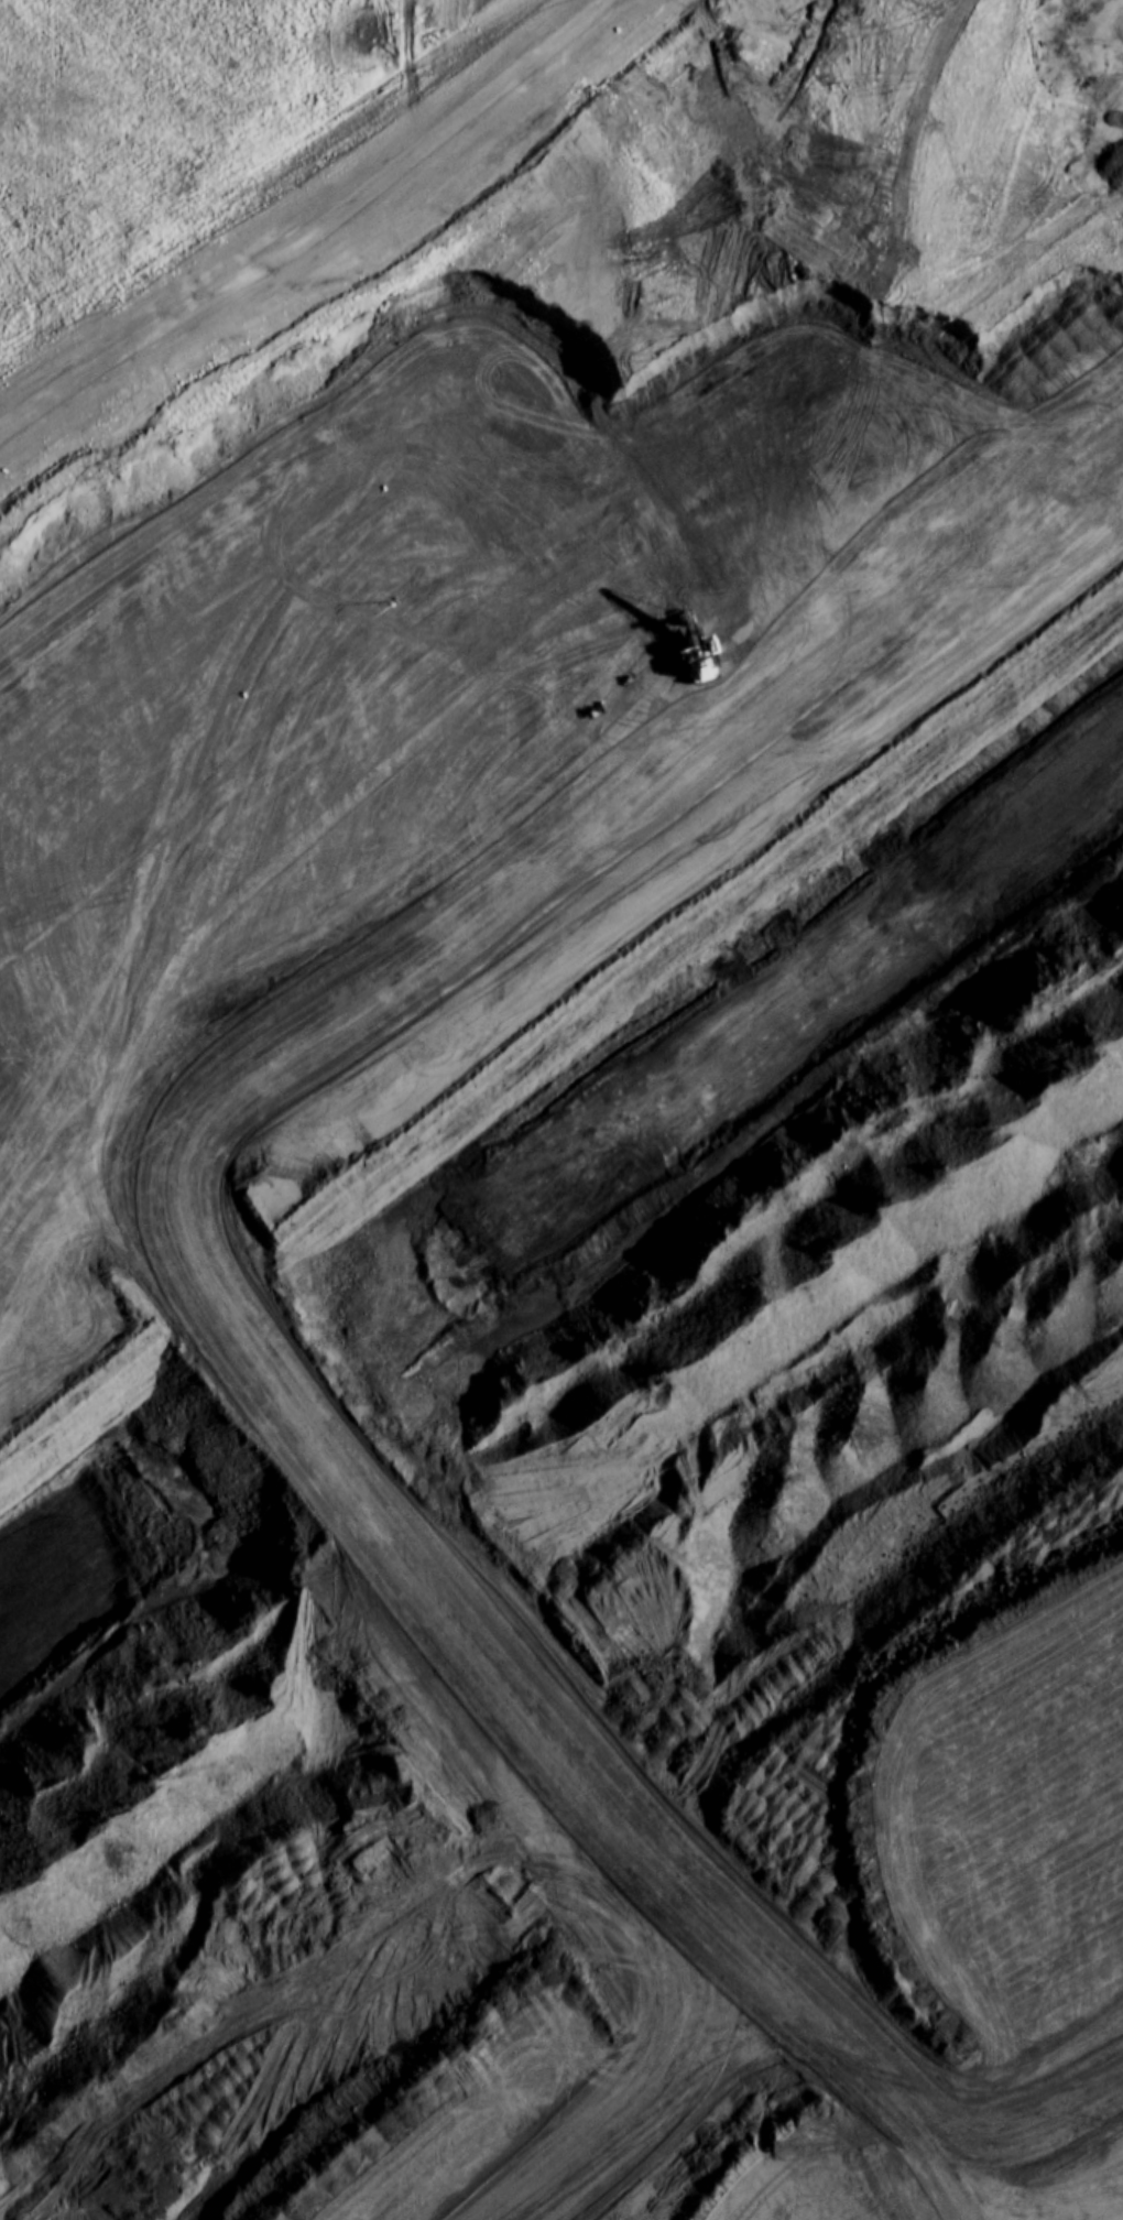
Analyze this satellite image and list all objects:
road: (407, 1069)
road: (204, 2139)

